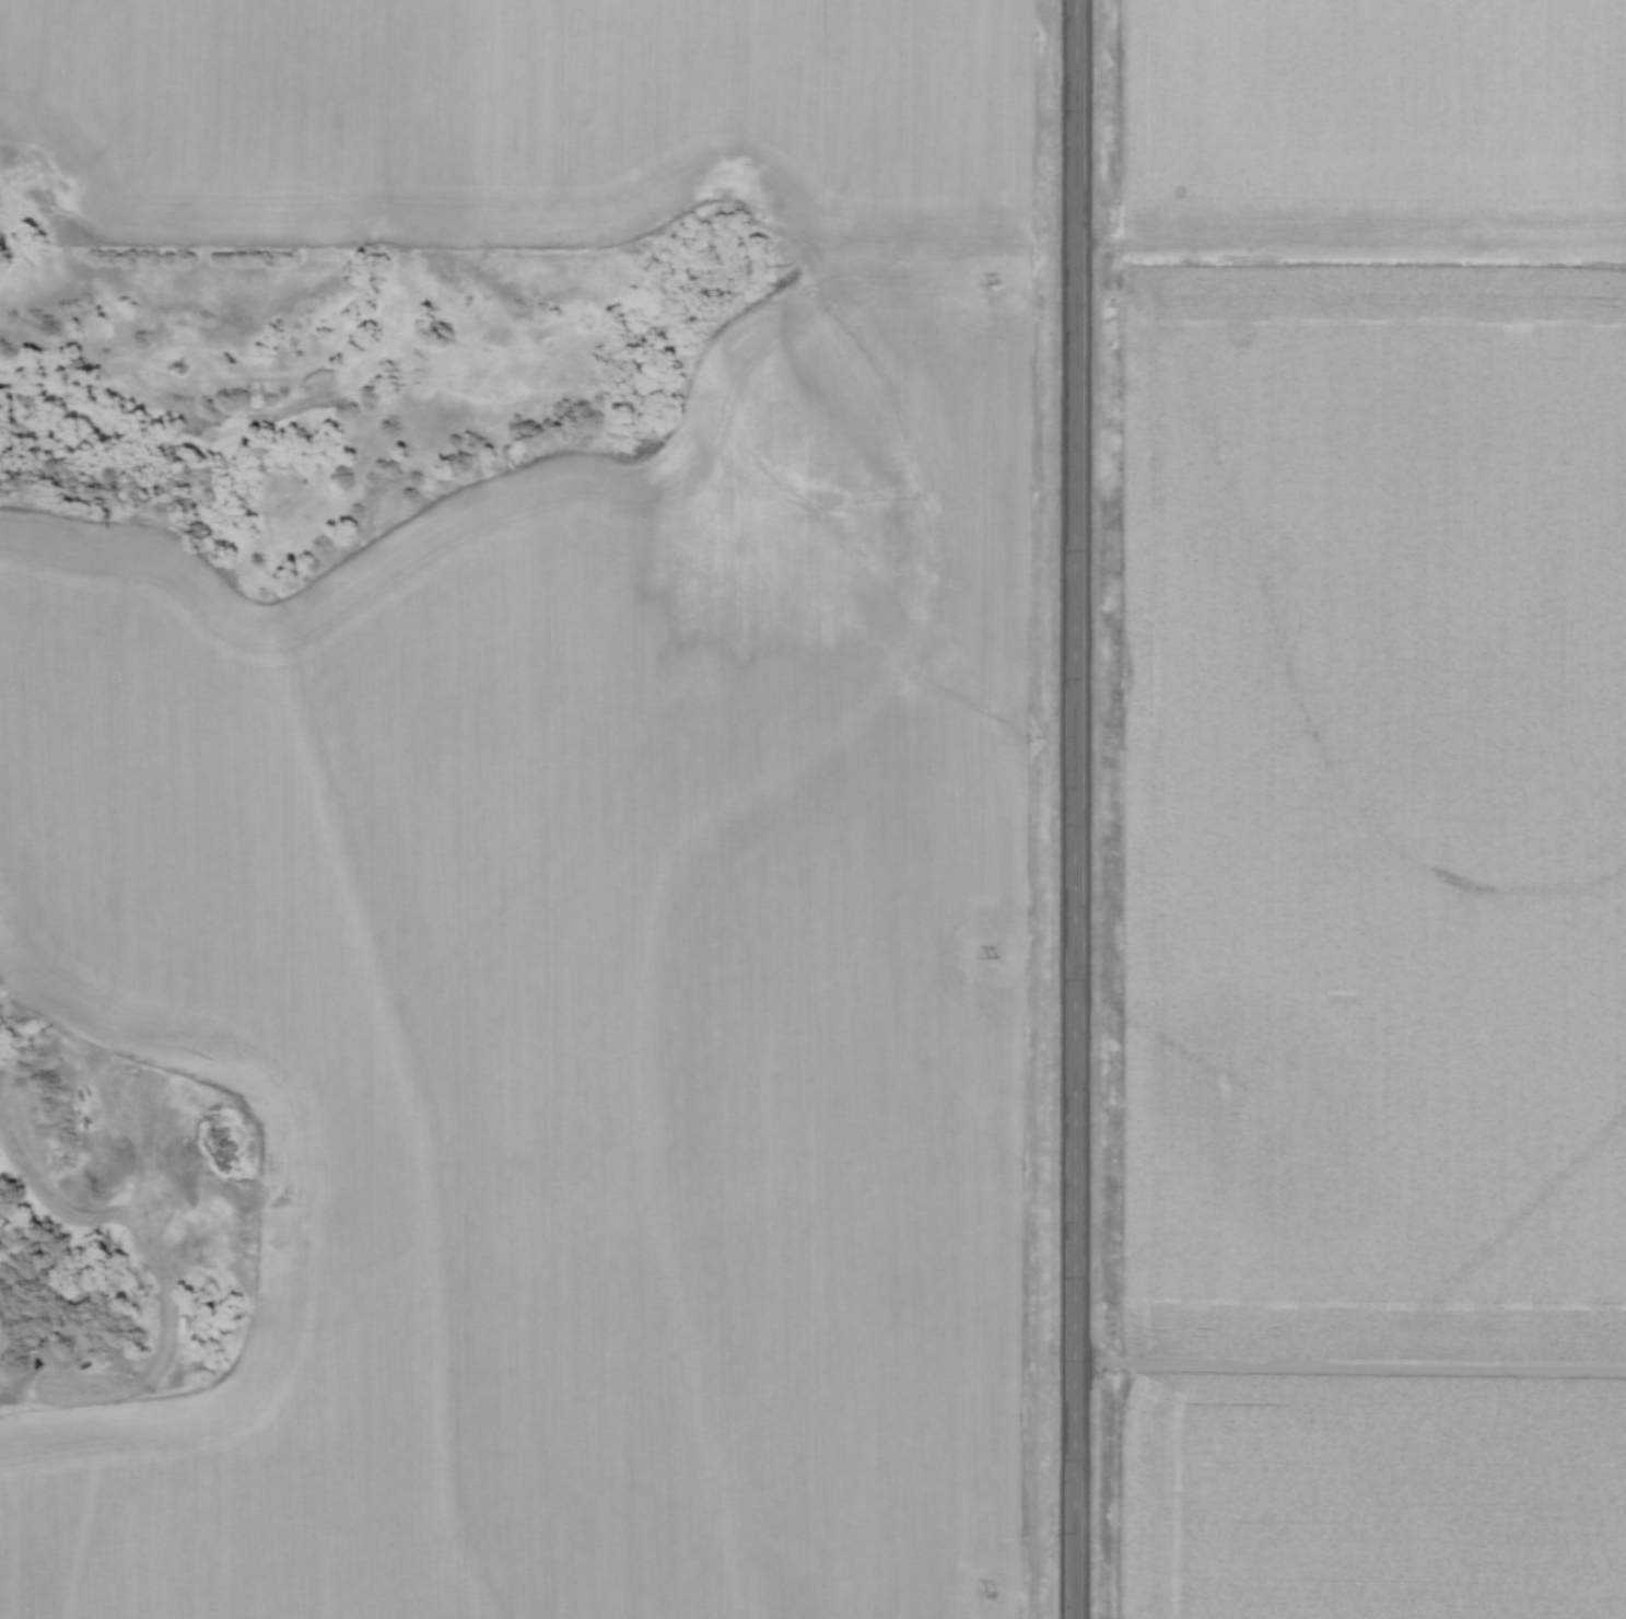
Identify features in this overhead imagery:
road: (1352, 249)
road: (1077, 808)
road: (1350, 1366)

